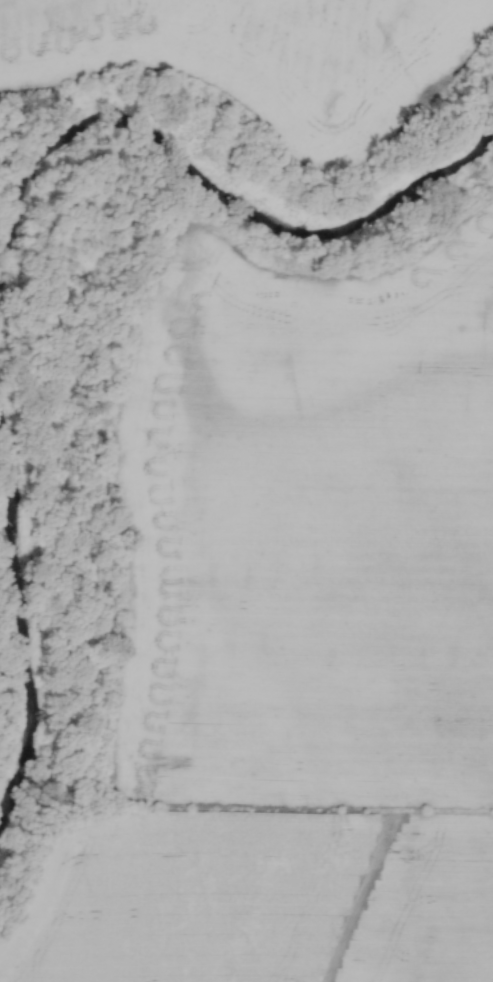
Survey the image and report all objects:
crop: (256, 48)
river: (218, 184)
river: (9, 619)

